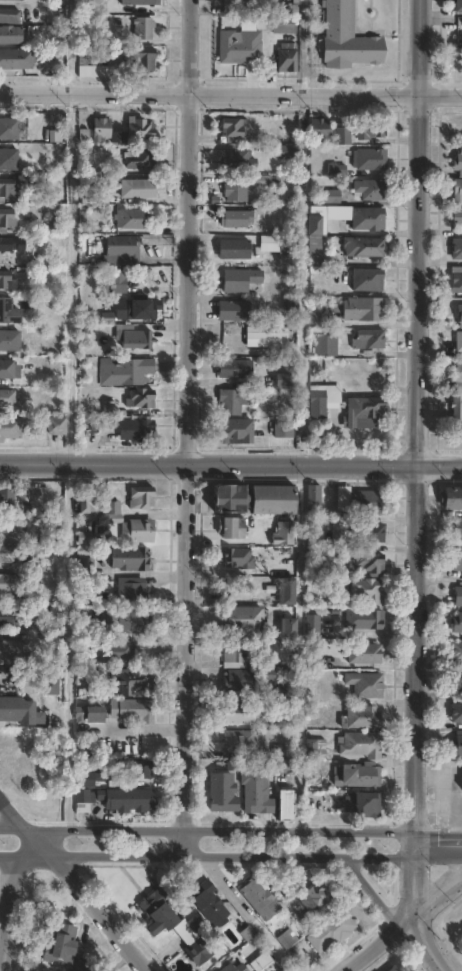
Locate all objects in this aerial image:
building: (62, 2)
building: (139, 2)
building: (249, 3)
building: (458, 6)
building: (292, 8)
building: (9, 16)
building: (143, 28)
building: (10, 34)
building: (347, 38)
road: (71, 46)
building: (239, 46)
road: (304, 47)
building: (114, 54)
building: (287, 57)
building: (16, 59)
building: (145, 61)
building: (86, 64)
road: (230, 94)
building: (371, 127)
building: (101, 128)
building: (140, 128)
building: (235, 128)
building: (320, 128)
building: (8, 129)
building: (343, 135)
building: (288, 151)
building: (142, 158)
building: (370, 158)
building: (8, 159)
building: (236, 159)
building: (60, 161)
building: (455, 165)
building: (337, 168)
building: (260, 180)
building: (15, 185)
building: (138, 189)
building: (236, 189)
building: (371, 190)
building: (455, 192)
building: (331, 197)
building: (56, 198)
building: (98, 198)
building: (236, 217)
building: (130, 218)
building: (454, 218)
building: (368, 219)
building: (6, 221)
building: (59, 224)
building: (315, 225)
road: (419, 232)
building: (8, 244)
building: (124, 247)
building: (286, 247)
building: (364, 247)
building: (234, 249)
building: (454, 249)
building: (315, 251)
road: (69, 277)
building: (4, 278)
building: (368, 279)
building: (240, 280)
building: (118, 281)
building: (454, 284)
building: (292, 304)
building: (138, 309)
building: (363, 309)
building: (234, 311)
building: (8, 312)
building: (454, 315)
building: (317, 317)
building: (35, 332)
building: (84, 333)
building: (134, 337)
building: (369, 339)
building: (10, 340)
building: (457, 340)
building: (265, 341)
building: (325, 346)
building: (235, 369)
building: (9, 370)
building: (131, 371)
building: (456, 376)
building: (283, 380)
building: (8, 399)
building: (140, 399)
building: (322, 399)
building: (231, 401)
building: (454, 406)
building: (109, 409)
building: (364, 410)
building: (56, 426)
building: (90, 427)
building: (11, 428)
road: (186, 428)
building: (136, 429)
building: (282, 430)
building: (235, 432)
building: (455, 433)
road: (208, 465)
road: (440, 465)
building: (141, 498)
building: (7, 499)
building: (24, 499)
building: (230, 499)
building: (451, 499)
building: (315, 500)
building: (89, 501)
building: (274, 501)
building: (359, 501)
building: (10, 526)
building: (130, 526)
building: (232, 528)
building: (457, 529)
building: (367, 533)
building: (284, 534)
building: (90, 538)
building: (8, 554)
building: (239, 558)
building: (130, 559)
building: (457, 563)
building: (369, 565)
building: (85, 566)
building: (8, 584)
building: (369, 591)
building: (130, 592)
building: (247, 593)
building: (287, 593)
building: (457, 597)
building: (9, 617)
building: (127, 617)
building: (365, 620)
building: (243, 621)
building: (457, 622)
building: (87, 626)
building: (317, 626)
building: (56, 628)
building: (288, 629)
building: (12, 651)
building: (115, 651)
building: (456, 651)
building: (363, 654)
building: (238, 656)
building: (313, 662)
building: (243, 682)
building: (458, 682)
building: (131, 683)
building: (365, 685)
building: (50, 686)
building: (285, 691)
road: (415, 692)
building: (17, 709)
building: (132, 711)
building: (455, 711)
building: (239, 714)
building: (95, 715)
building: (361, 718)
building: (239, 742)
building: (361, 745)
building: (456, 745)
building: (316, 749)
building: (283, 750)
building: (104, 764)
building: (140, 768)
building: (285, 768)
building: (349, 776)
building: (90, 778)
building: (461, 778)
building: (256, 793)
building: (222, 794)
building: (84, 799)
building: (129, 799)
building: (363, 806)
building: (286, 807)
road: (10, 828)
road: (218, 831)
road: (437, 845)
road: (26, 855)
road: (235, 857)
road: (77, 886)
road: (372, 896)
road: (436, 897)
building: (262, 899)
building: (210, 903)
building: (316, 903)
road: (6, 913)
building: (171, 922)
building: (332, 930)
park: (449, 931)
building: (287, 938)
building: (62, 944)
road: (378, 945)
road: (422, 947)
building: (260, 961)
building: (82, 966)
building: (235, 967)
building: (393, 968)

